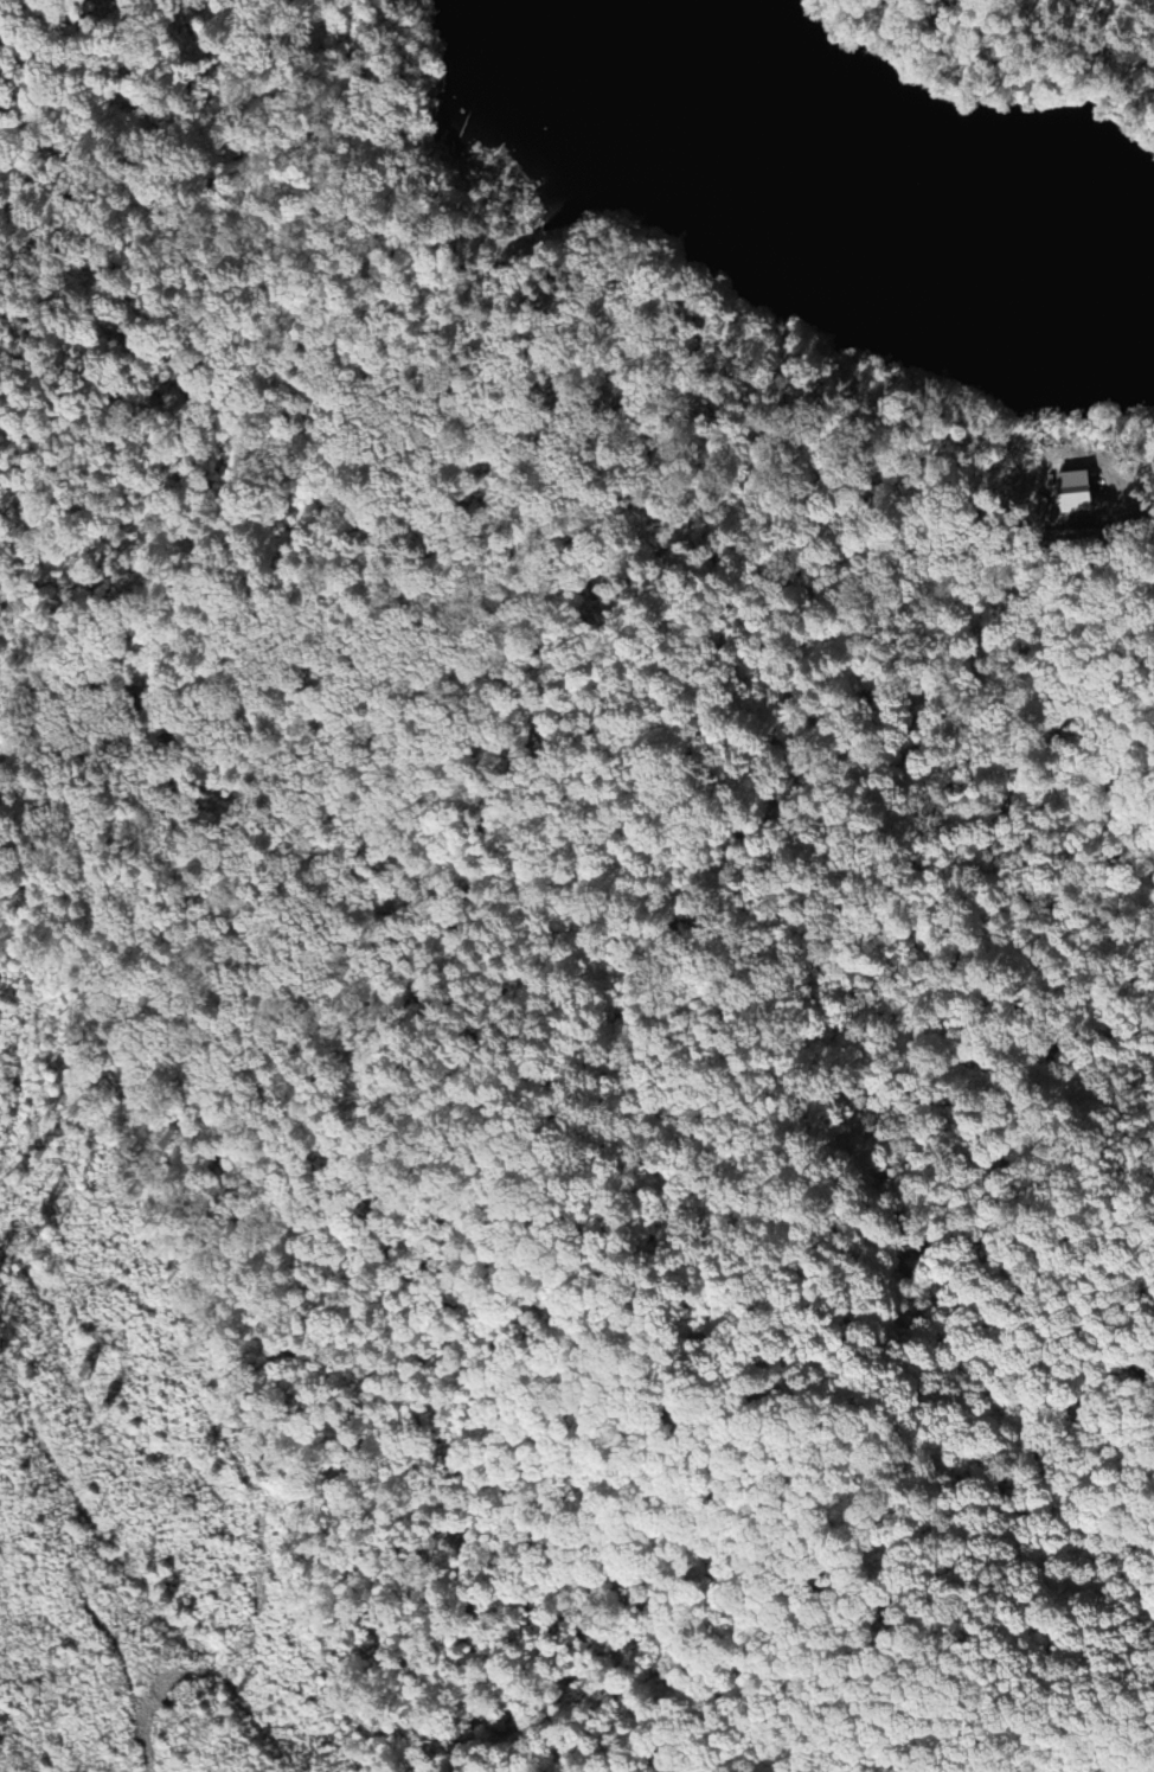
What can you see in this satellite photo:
road: (1133, 520)

